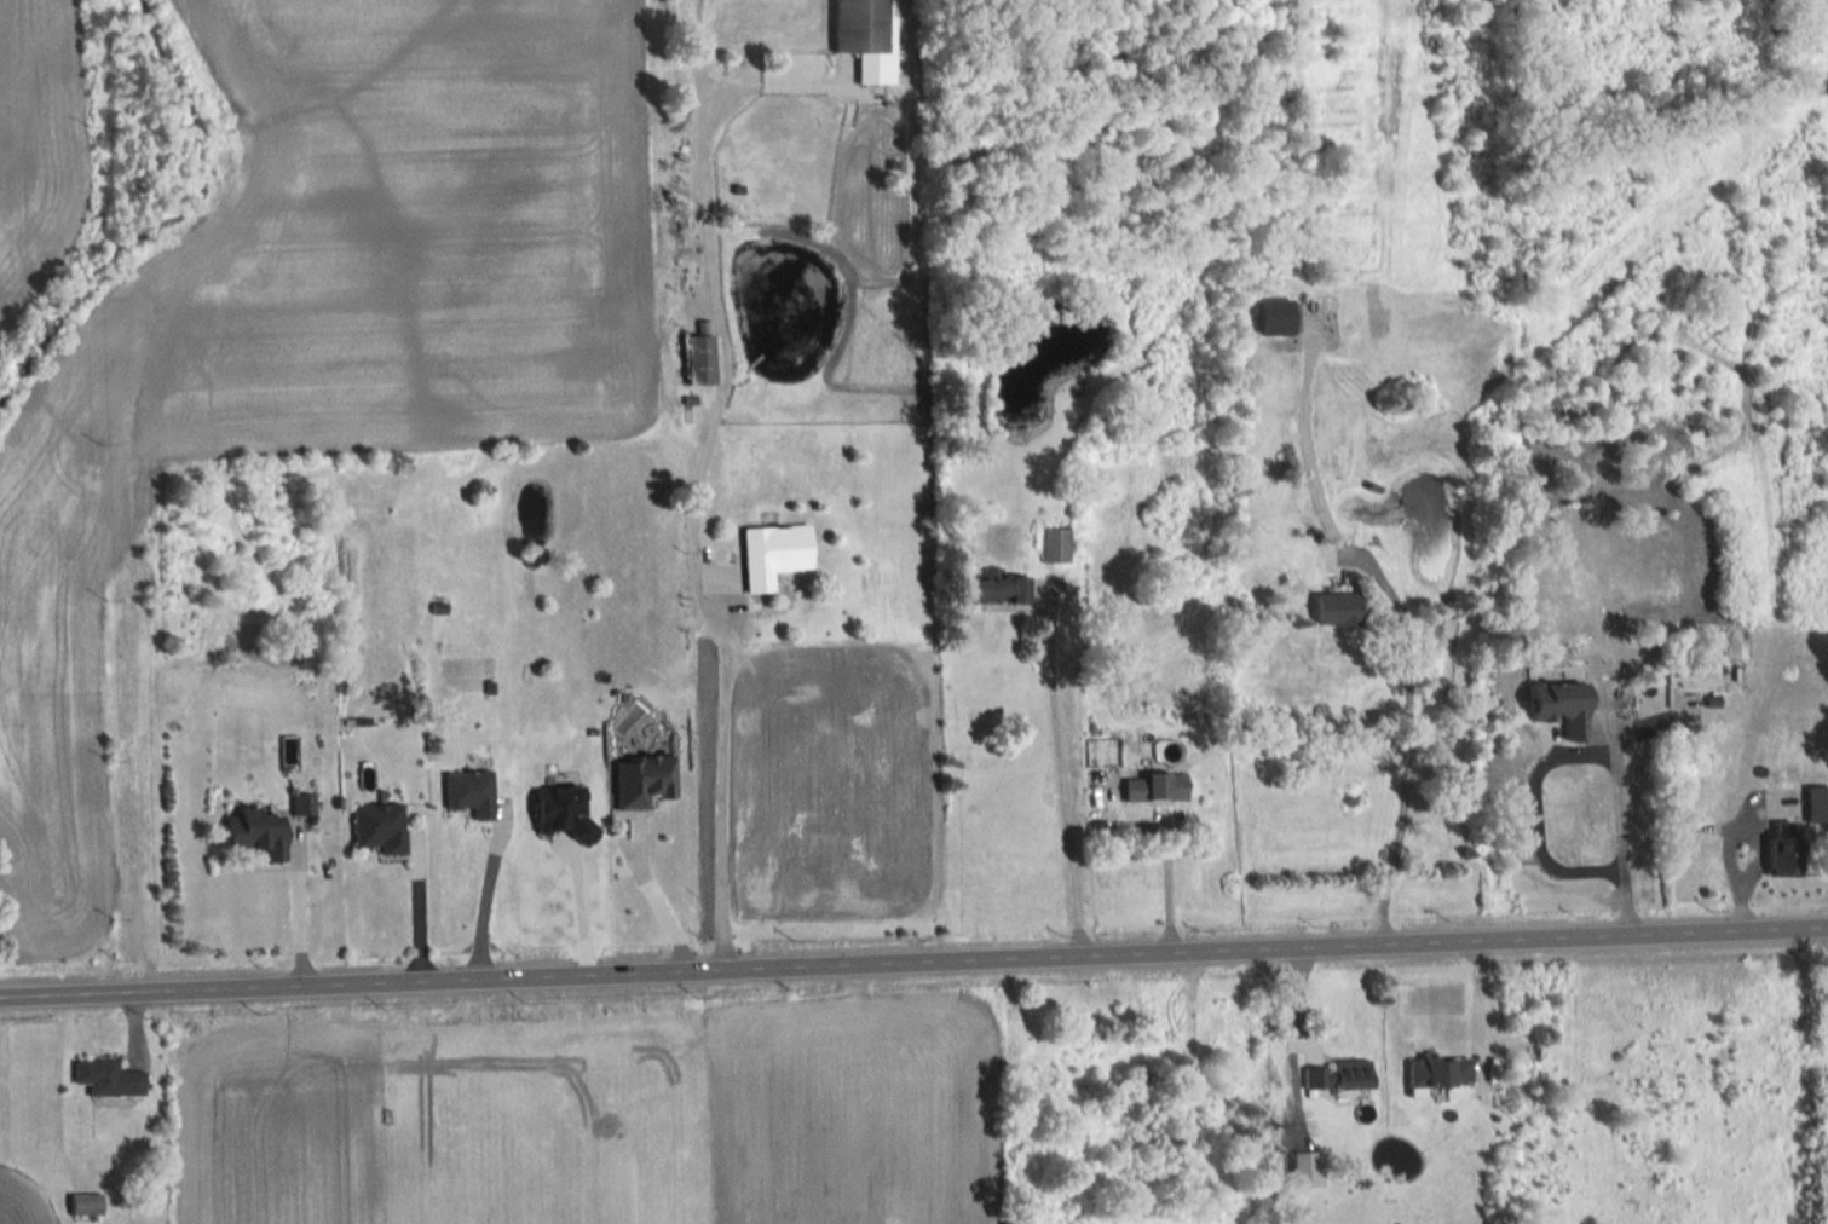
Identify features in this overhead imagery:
building: (866, 37)
crop: (36, 138)
building: (1275, 317)
crop: (324, 330)
building: (699, 356)
road: (692, 527)
building: (1055, 543)
building: (773, 554)
building: (997, 588)
building: (1337, 608)
road: (1400, 616)
building: (1561, 706)
building: (653, 776)
building: (1782, 778)
crop: (836, 783)
building: (1155, 787)
building: (469, 793)
road: (1060, 801)
building: (380, 827)
building: (258, 833)
road: (1613, 835)
building: (1774, 854)
road: (1165, 866)
road: (659, 902)
road: (480, 906)
road: (295, 912)
road: (416, 914)
road: (913, 963)
road: (1475, 1009)
building: (1432, 1072)
building: (1334, 1075)
building: (108, 1078)
crop: (855, 1113)
crop: (282, 1126)
crop: (22, 1199)

